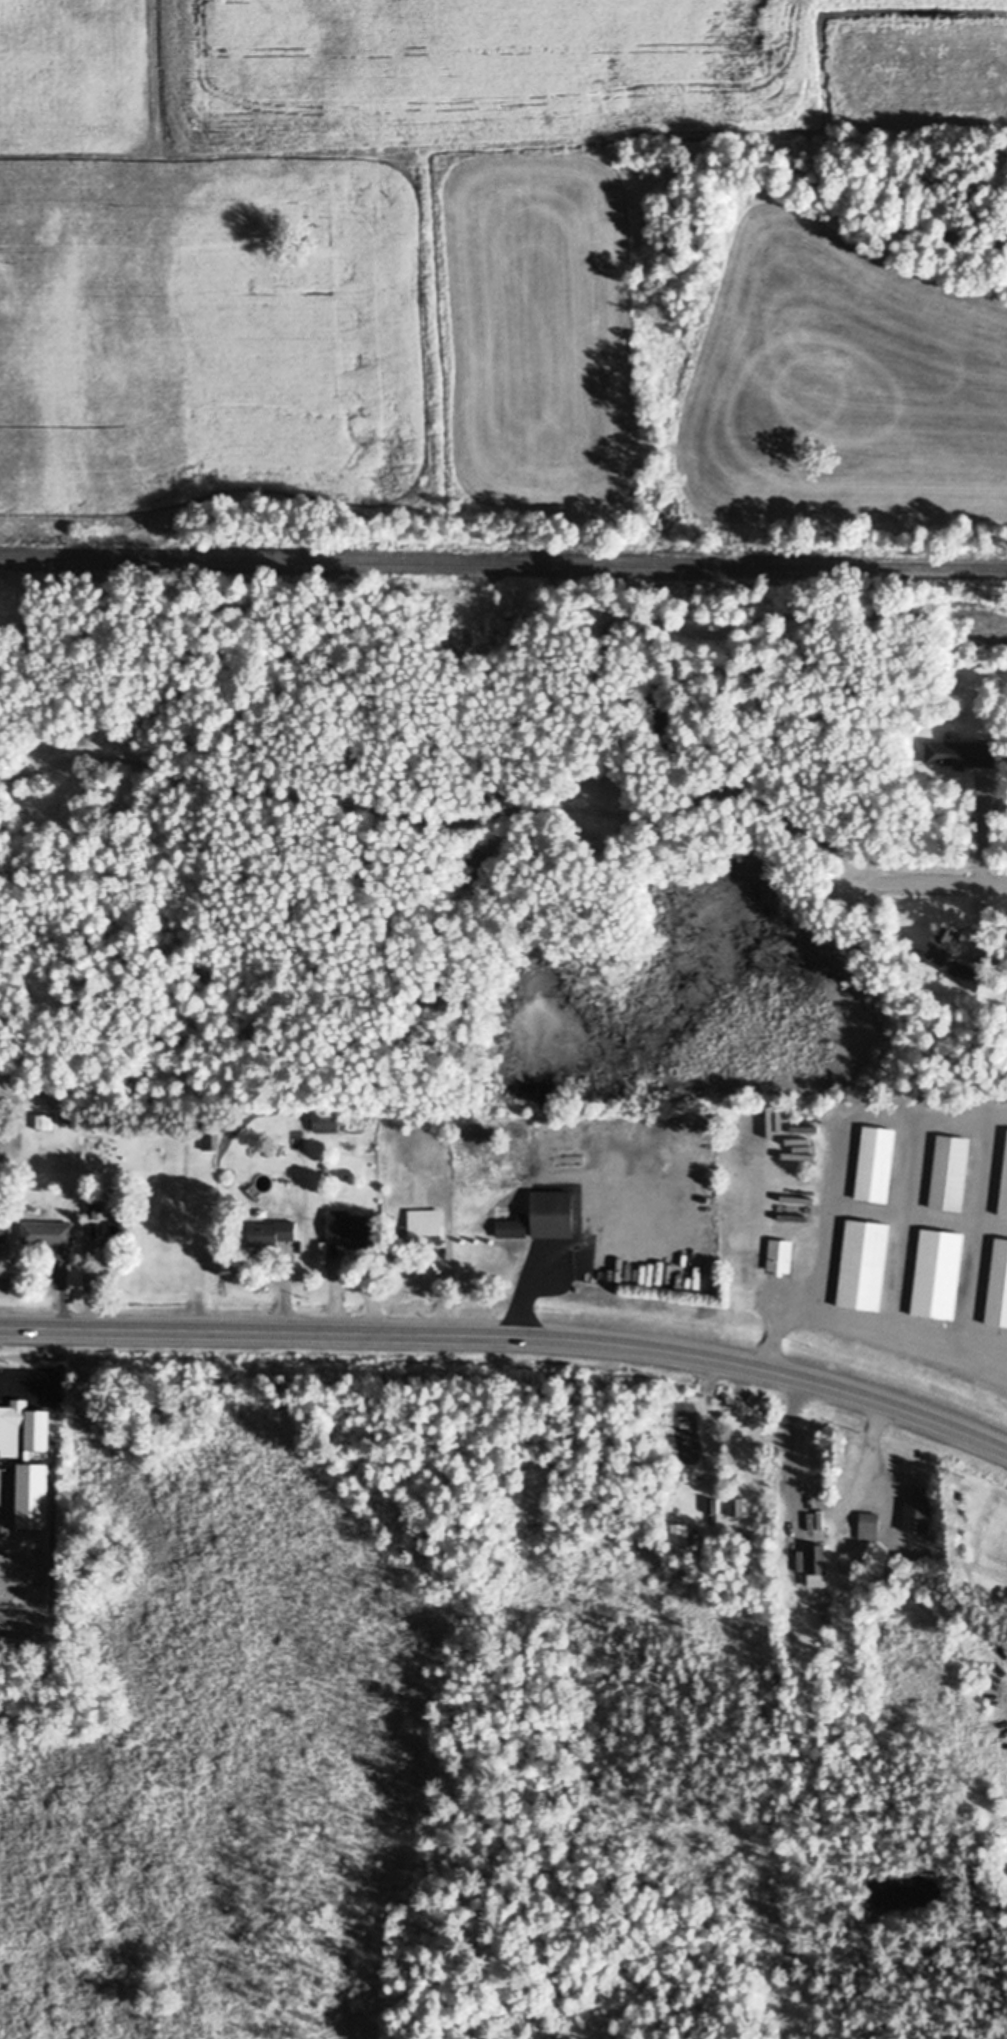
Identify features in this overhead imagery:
railway: (503, 562)
building: (960, 754)
road: (978, 826)
road: (931, 882)
building: (327, 1121)
building: (558, 1137)
building: (209, 1138)
building: (877, 1164)
road: (832, 1168)
building: (951, 1172)
building: (400, 1183)
building: (1004, 1196)
building: (555, 1214)
building: (515, 1227)
building: (352, 1229)
building: (423, 1229)
building: (4, 1231)
building: (273, 1232)
building: (50, 1233)
building: (782, 1257)
building: (865, 1265)
building: (940, 1274)
building: (999, 1285)
road: (511, 1334)
building: (25, 1419)
building: (920, 1511)
building: (871, 1526)
building: (819, 1565)

